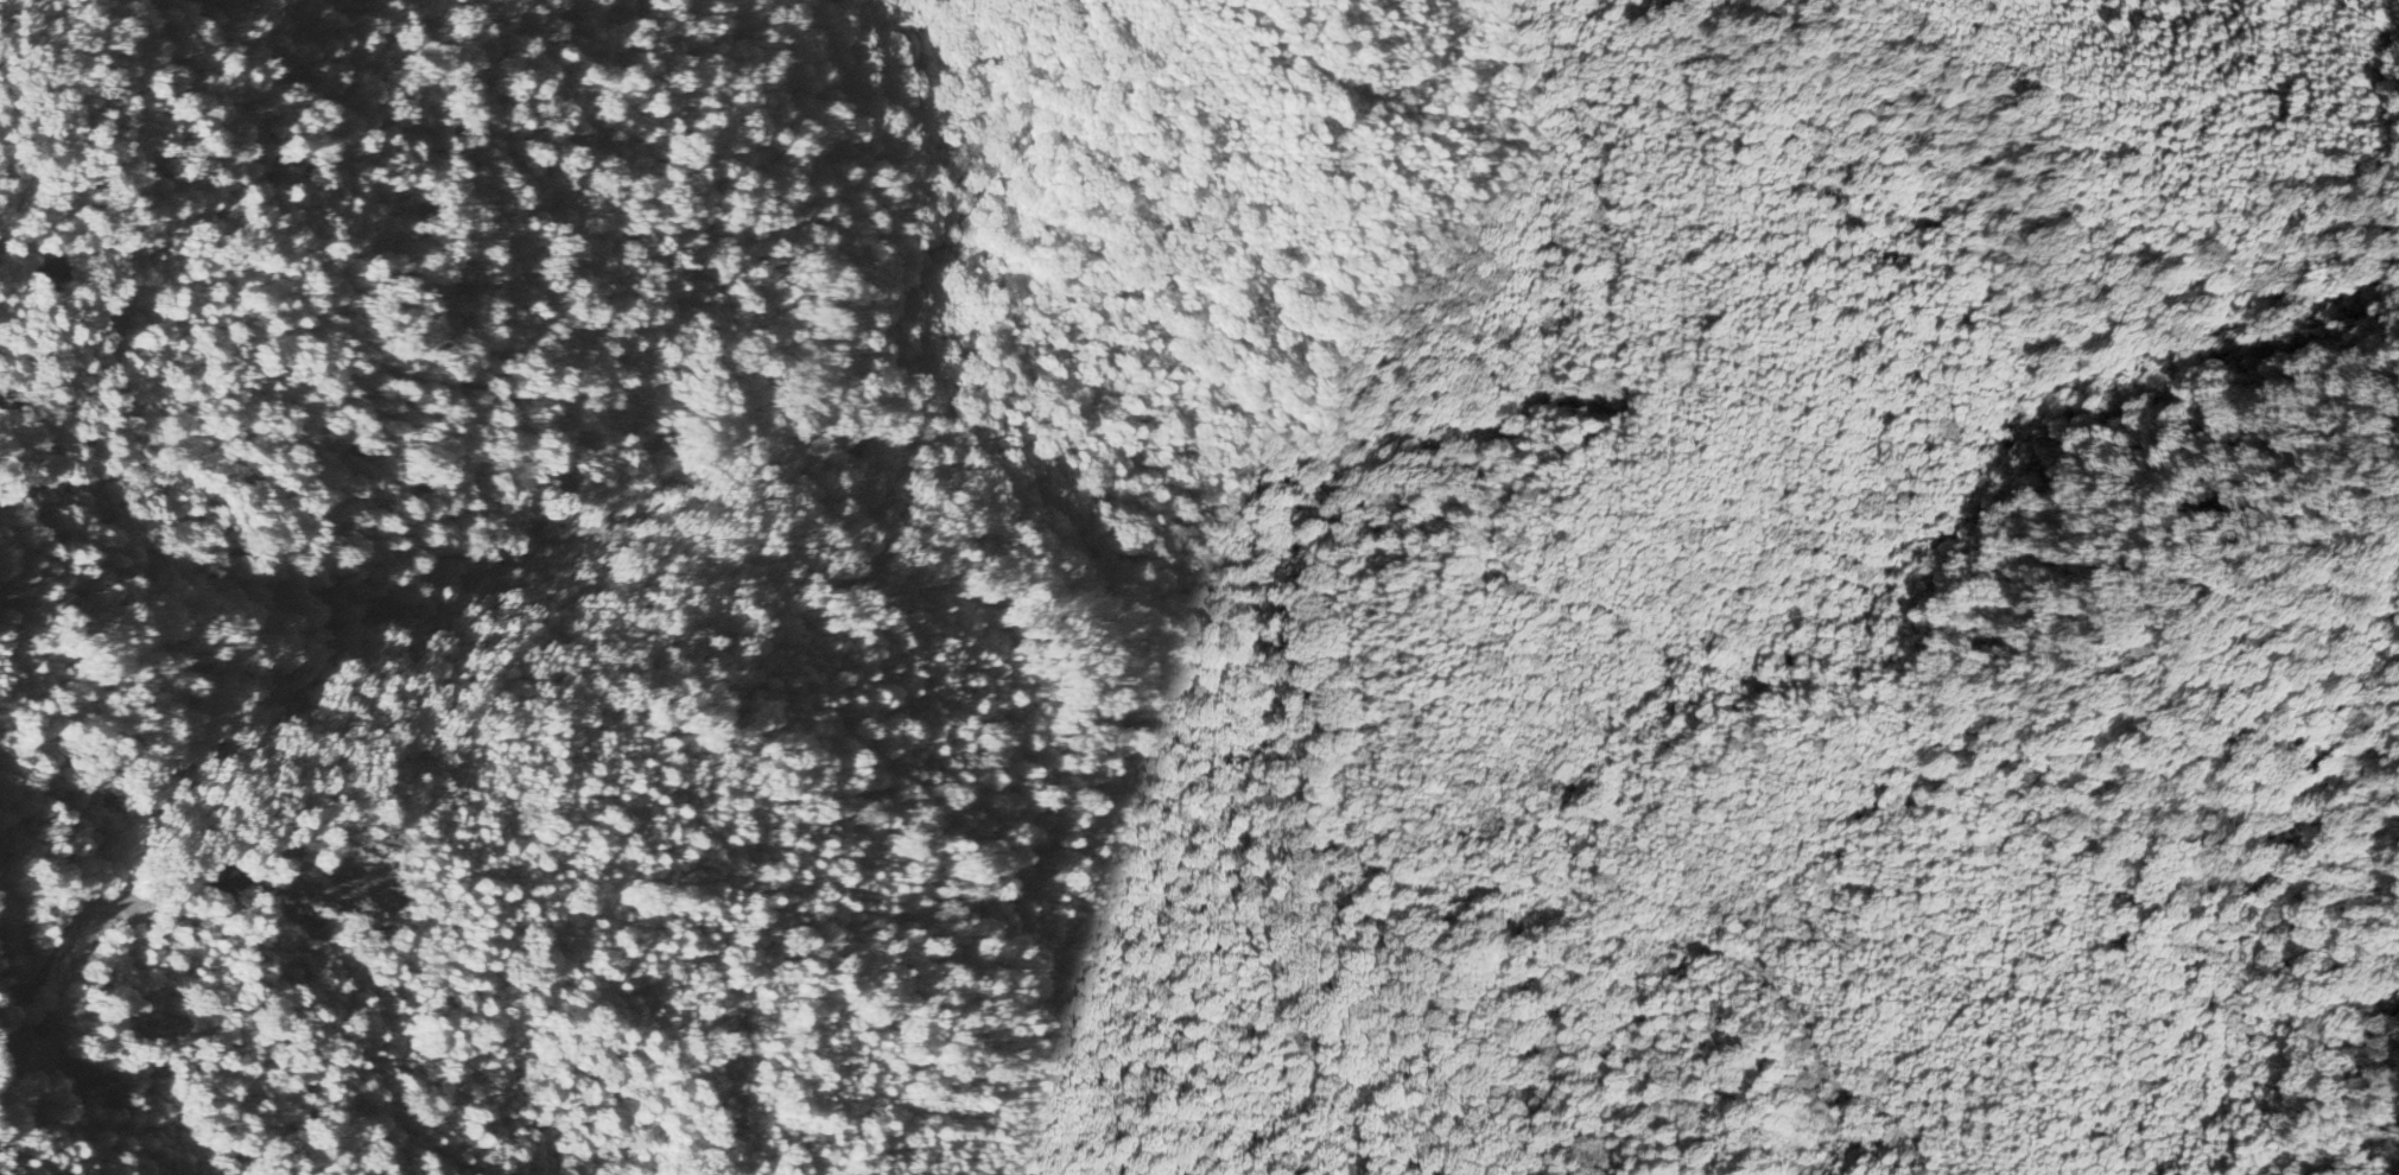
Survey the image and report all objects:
road: (46, 961)

